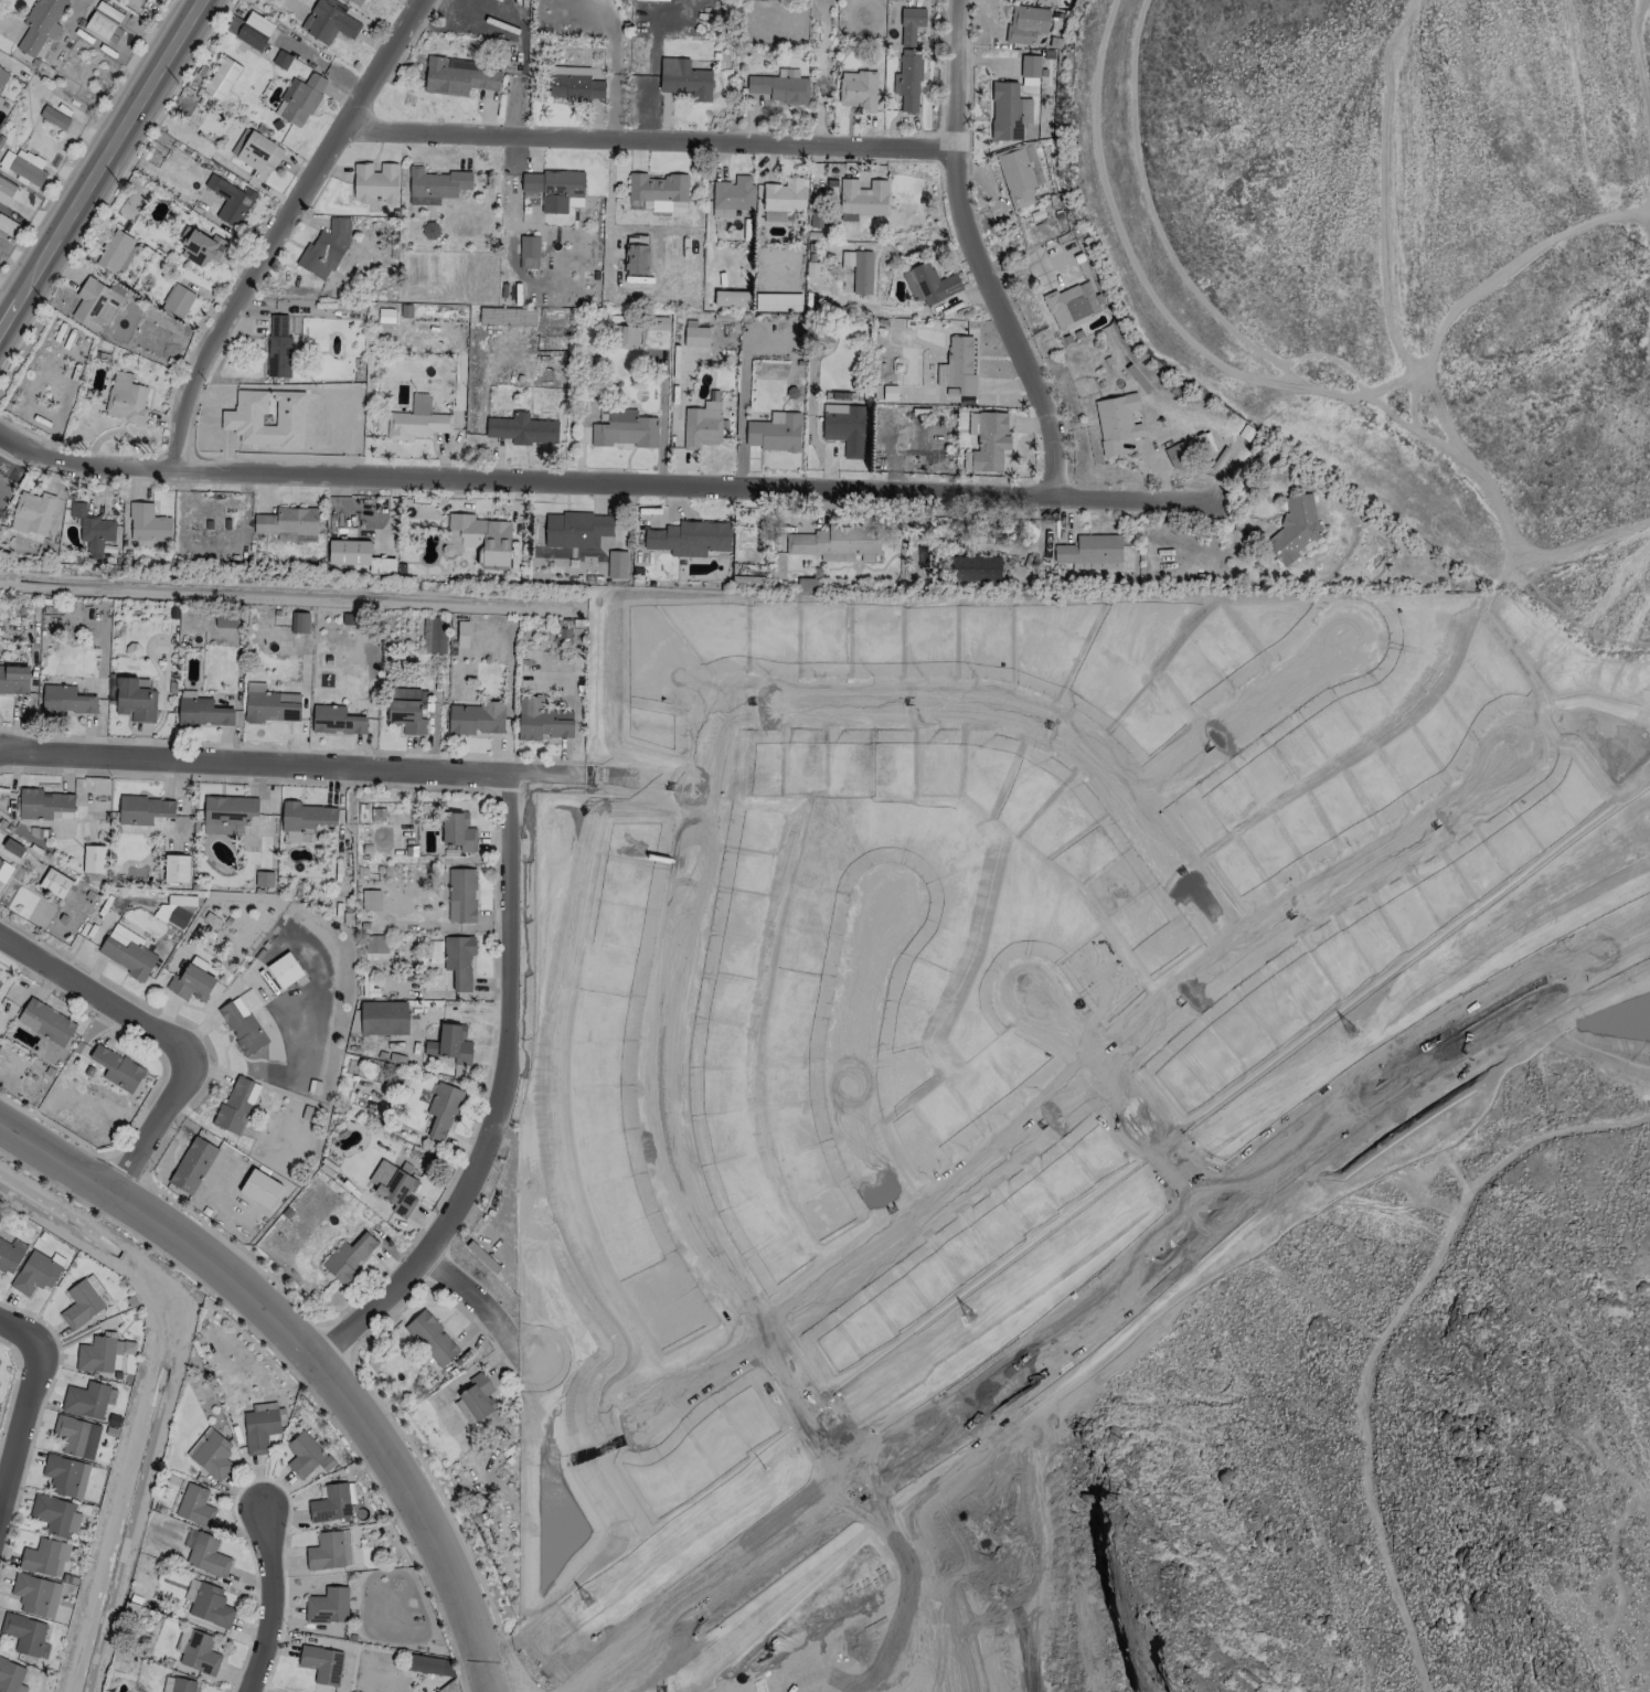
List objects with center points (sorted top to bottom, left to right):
building: (652, 0)
building: (769, 0)
building: (356, 1)
road: (230, 8)
building: (328, 22)
building: (1025, 23)
building: (40, 24)
building: (233, 24)
road: (257, 24)
building: (909, 24)
building: (254, 31)
road: (298, 50)
road: (614, 56)
road: (518, 61)
building: (1030, 66)
building: (459, 76)
building: (222, 78)
road: (347, 78)
building: (684, 79)
building: (907, 79)
building: (574, 84)
building: (779, 88)
building: (858, 91)
building: (299, 99)
building: (1005, 111)
building: (53, 117)
road: (645, 142)
building: (256, 150)
road: (100, 160)
building: (24, 167)
building: (1015, 175)
building: (375, 182)
building: (551, 183)
building: (436, 185)
building: (659, 191)
building: (8, 194)
building: (732, 195)
building: (785, 195)
building: (862, 199)
building: (231, 200)
road: (280, 226)
building: (200, 247)
building: (326, 248)
building: (114, 251)
road: (979, 251)
building: (529, 252)
building: (636, 258)
building: (929, 284)
building: (731, 298)
building: (177, 301)
building: (777, 302)
building: (94, 304)
building: (1072, 305)
building: (509, 316)
building: (625, 337)
building: (695, 337)
building: (278, 347)
building: (958, 366)
building: (126, 398)
building: (241, 419)
building: (416, 421)
building: (1116, 422)
building: (701, 425)
building: (844, 427)
building: (522, 429)
building: (625, 429)
building: (775, 433)
building: (987, 440)
building: (1205, 443)
building: (1178, 455)
road: (620, 475)
building: (286, 521)
building: (148, 523)
building: (92, 529)
building: (576, 529)
building: (1294, 529)
building: (482, 538)
building: (690, 538)
building: (835, 541)
building: (1090, 552)
building: (358, 556)
building: (616, 564)
building: (975, 568)
building: (225, 620)
building: (299, 622)
building: (562, 632)
building: (461, 634)
building: (434, 635)
building: (13, 679)
building: (66, 700)
building: (135, 700)
building: (269, 704)
road: (996, 707)
building: (406, 710)
road: (1244, 711)
building: (202, 712)
building: (476, 717)
building: (336, 720)
building: (541, 720)
road: (350, 766)
building: (44, 805)
building: (145, 810)
building: (226, 813)
building: (306, 817)
building: (458, 831)
building: (12, 848)
road: (1384, 852)
building: (93, 859)
building: (175, 869)
building: (1, 875)
building: (264, 879)
building: (461, 895)
building: (370, 900)
building: (180, 901)
road: (684, 911)
building: (178, 917)
building: (375, 944)
building: (128, 953)
building: (458, 960)
building: (284, 969)
building: (191, 983)
road: (1171, 1012)
building: (383, 1018)
building: (45, 1022)
building: (242, 1029)
road: (1061, 1029)
road: (164, 1033)
building: (450, 1044)
road: (845, 1057)
building: (117, 1068)
road: (501, 1098)
building: (236, 1105)
building: (441, 1109)
road: (992, 1140)
road: (1160, 1145)
road: (1142, 1156)
building: (192, 1166)
road: (1236, 1174)
building: (259, 1188)
building: (394, 1188)
road: (681, 1196)
building: (10, 1255)
building: (349, 1256)
road: (817, 1270)
building: (35, 1273)
road: (475, 1296)
building: (81, 1305)
road: (1118, 1306)
building: (432, 1339)
building: (102, 1354)
road: (313, 1356)
road: (35, 1360)
road: (691, 1369)
building: (478, 1396)
road: (803, 1396)
building: (86, 1400)
road: (789, 1411)
building: (258, 1430)
building: (77, 1436)
building: (211, 1454)
building: (306, 1455)
road: (11, 1464)
building: (65, 1475)
road: (859, 1485)
building: (332, 1502)
building: (194, 1505)
building: (55, 1514)
building: (329, 1551)
building: (206, 1555)
building: (44, 1557)
road: (710, 1584)
building: (35, 1595)
road: (270, 1603)
building: (327, 1606)
park: (876, 1630)
building: (23, 1634)
building: (199, 1653)
building: (321, 1663)
building: (424, 1663)
building: (11, 1677)
building: (182, 1685)

